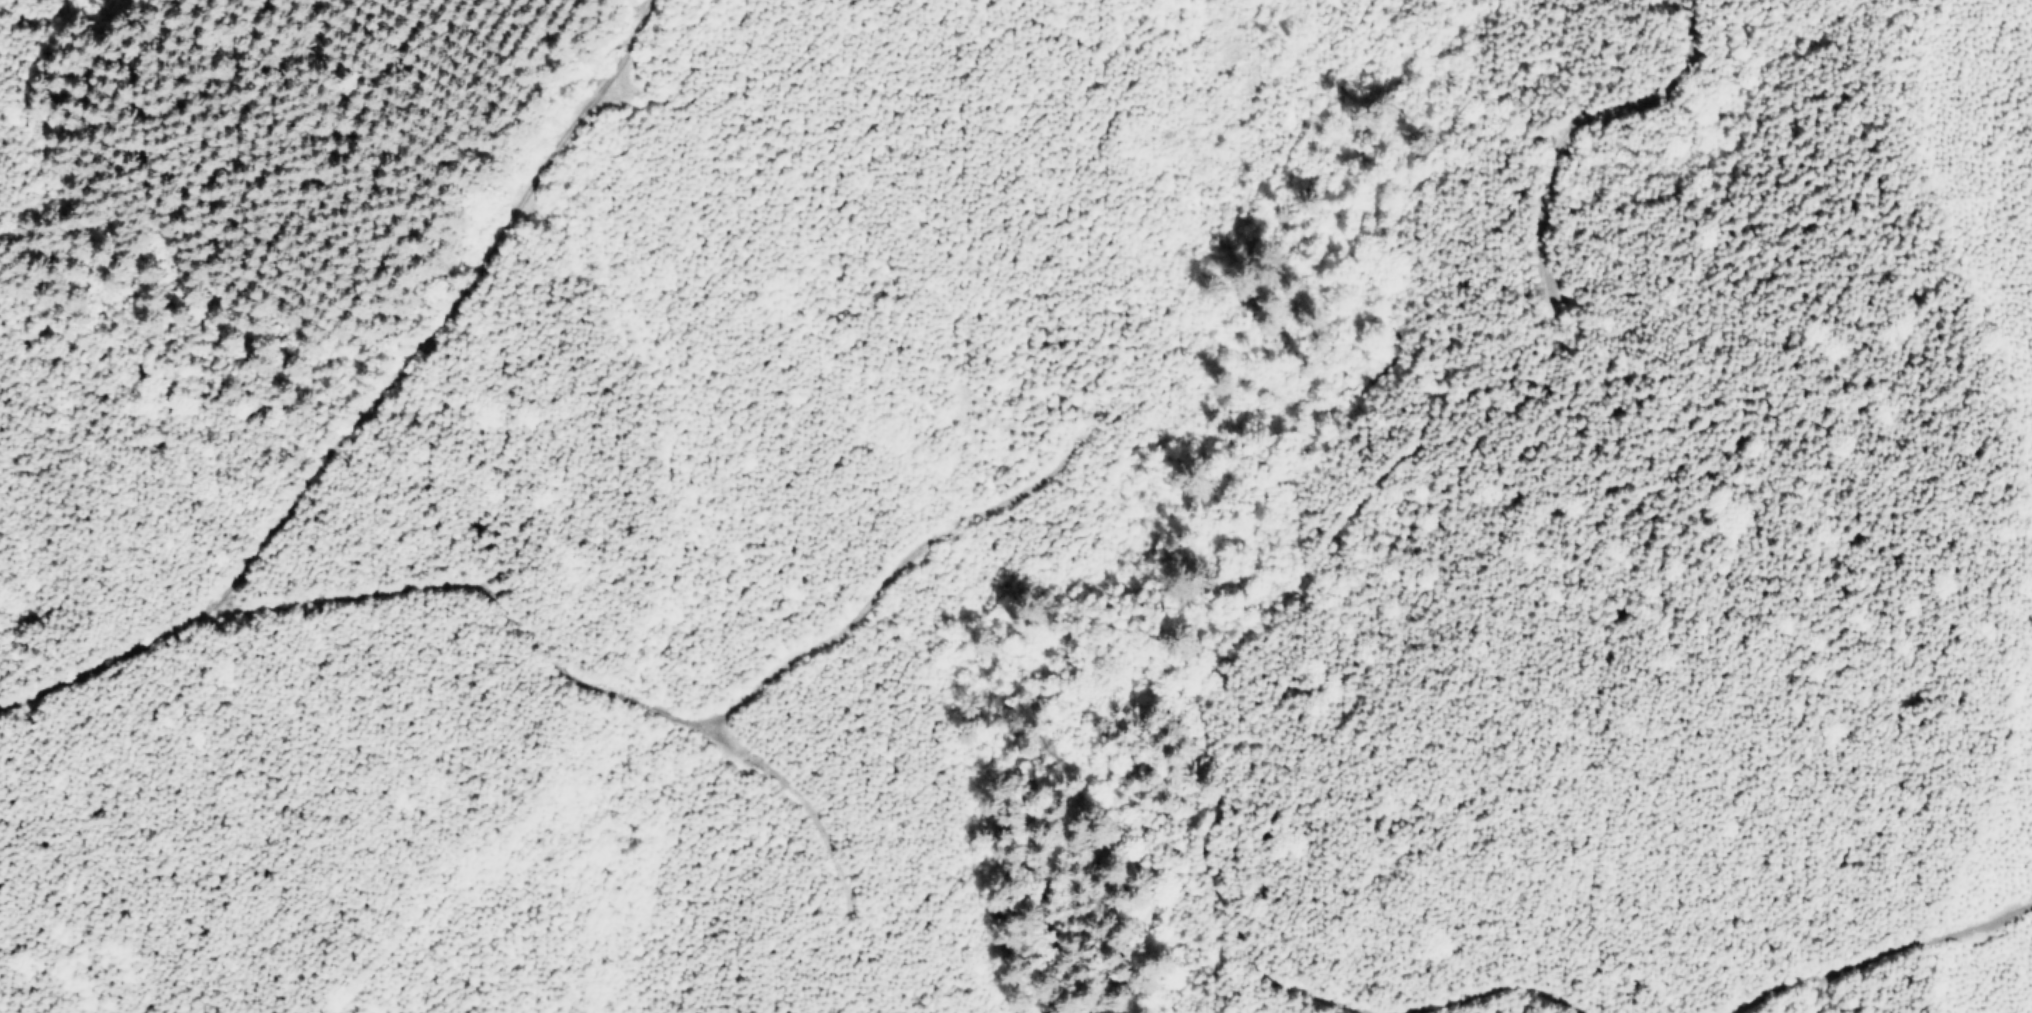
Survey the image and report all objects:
road: (1297, 977)
road: (1676, 996)

